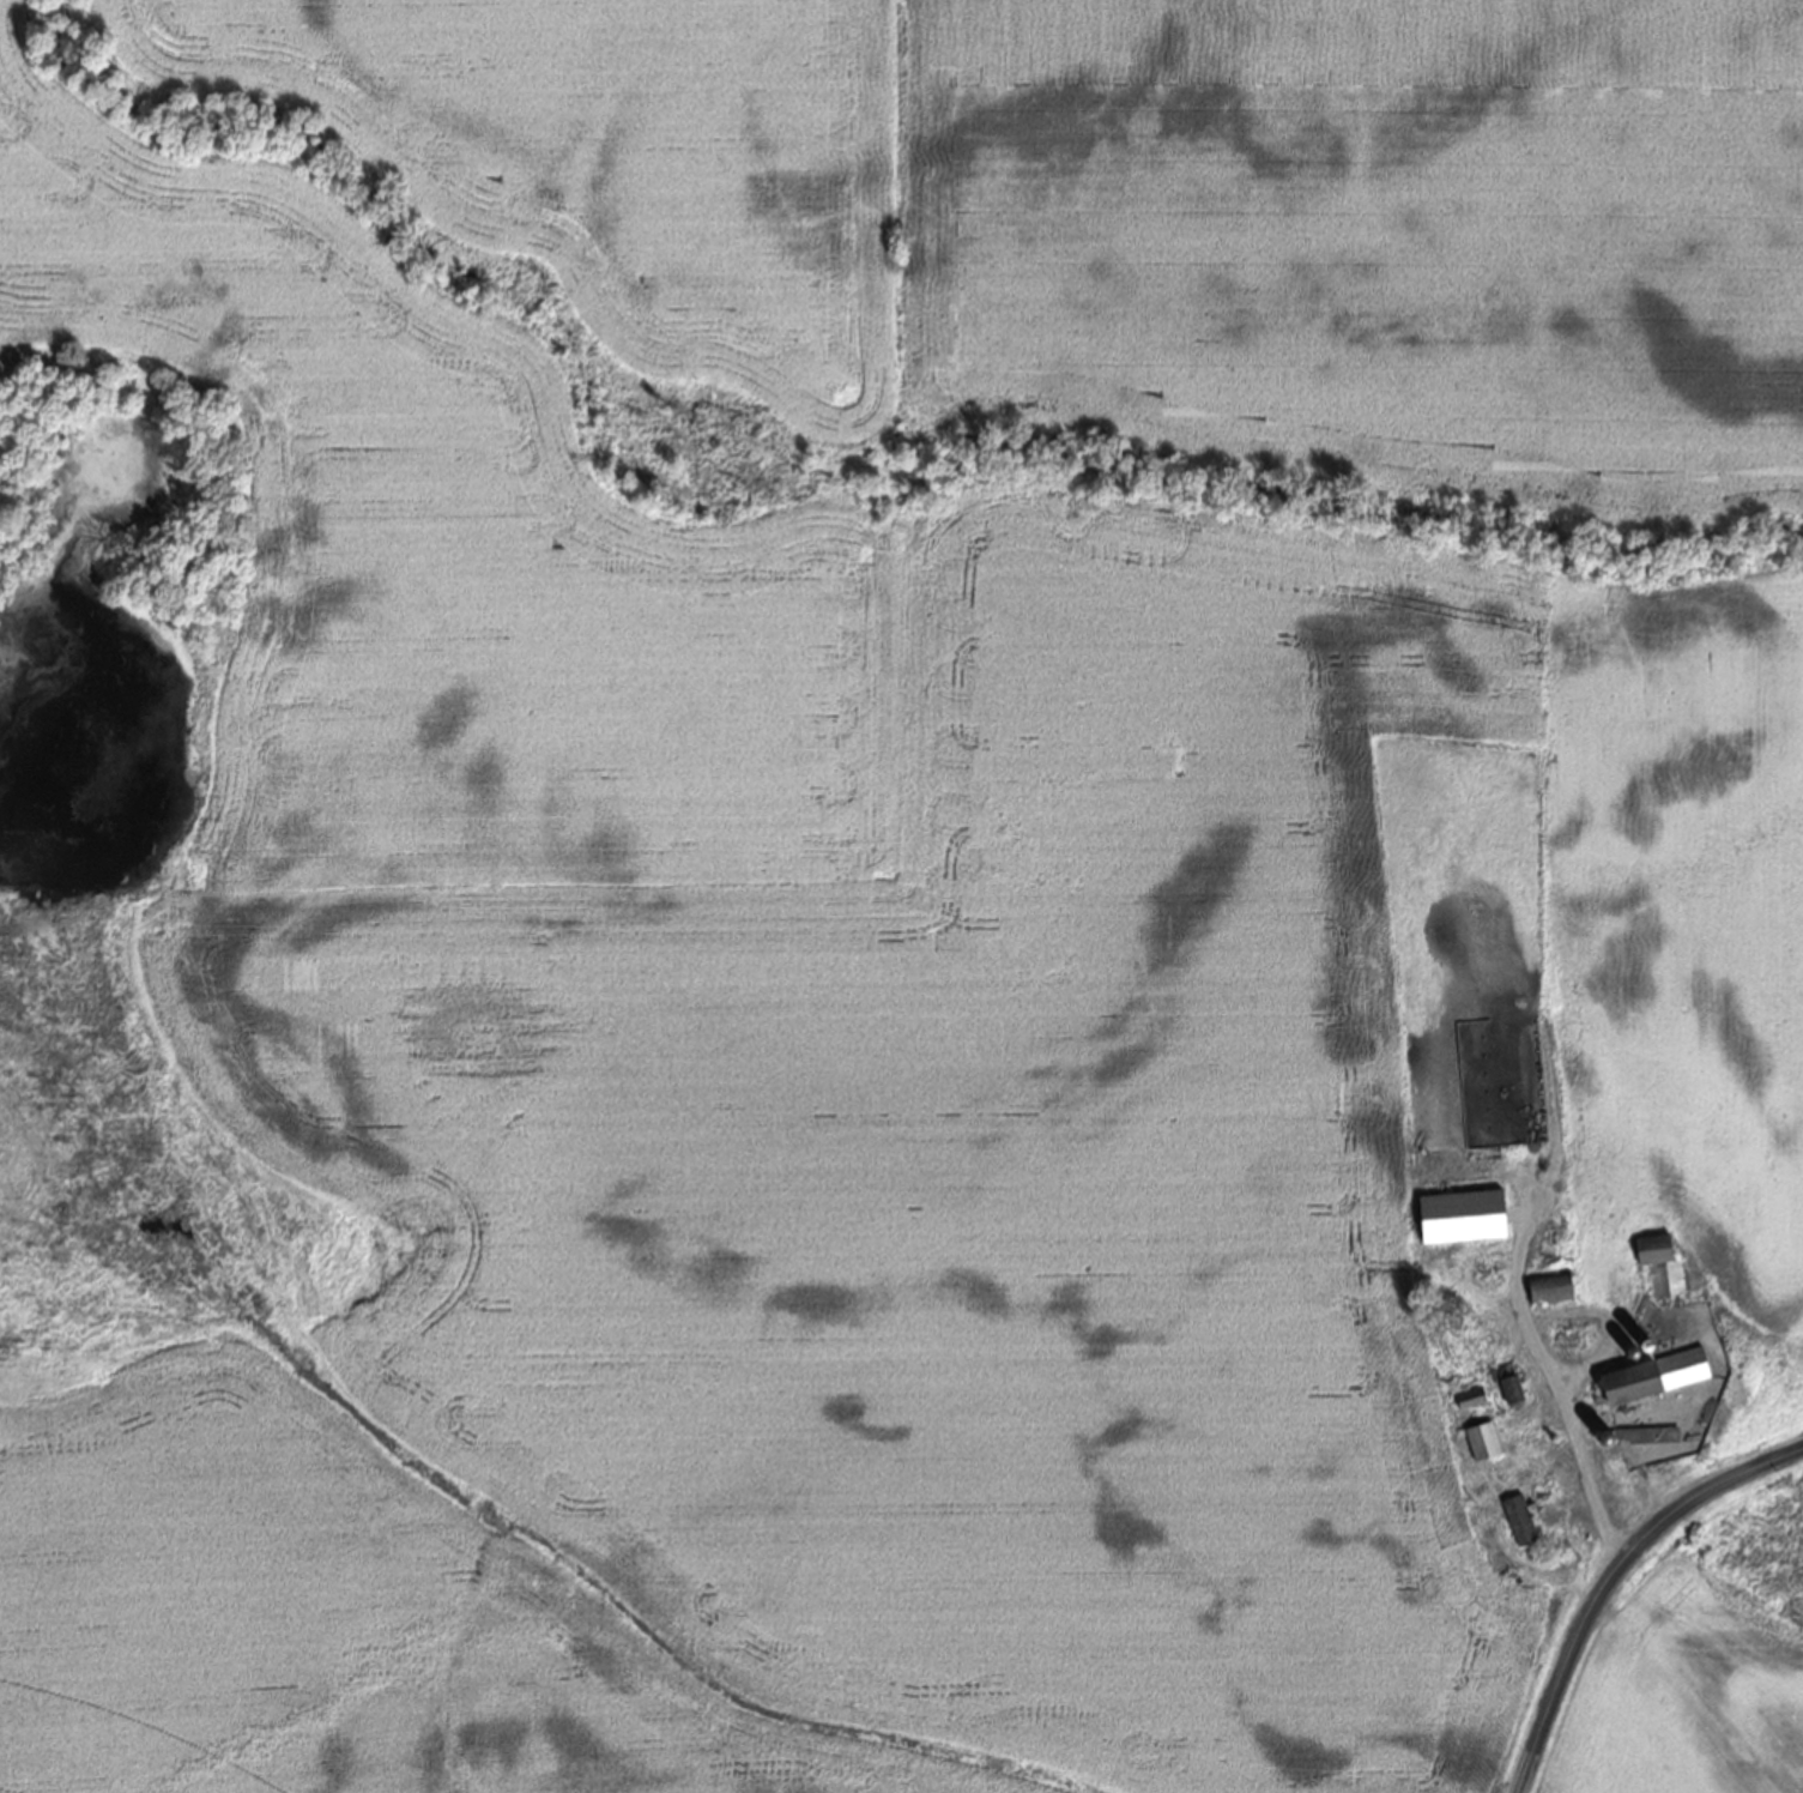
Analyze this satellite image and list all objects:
building: (1499, 1081)
building: (1459, 1220)
building: (1654, 1270)
building: (1548, 1293)
building: (1651, 1381)
building: (1508, 1393)
building: (1469, 1402)
building: (1481, 1444)
building: (1518, 1523)
road: (1613, 1580)

